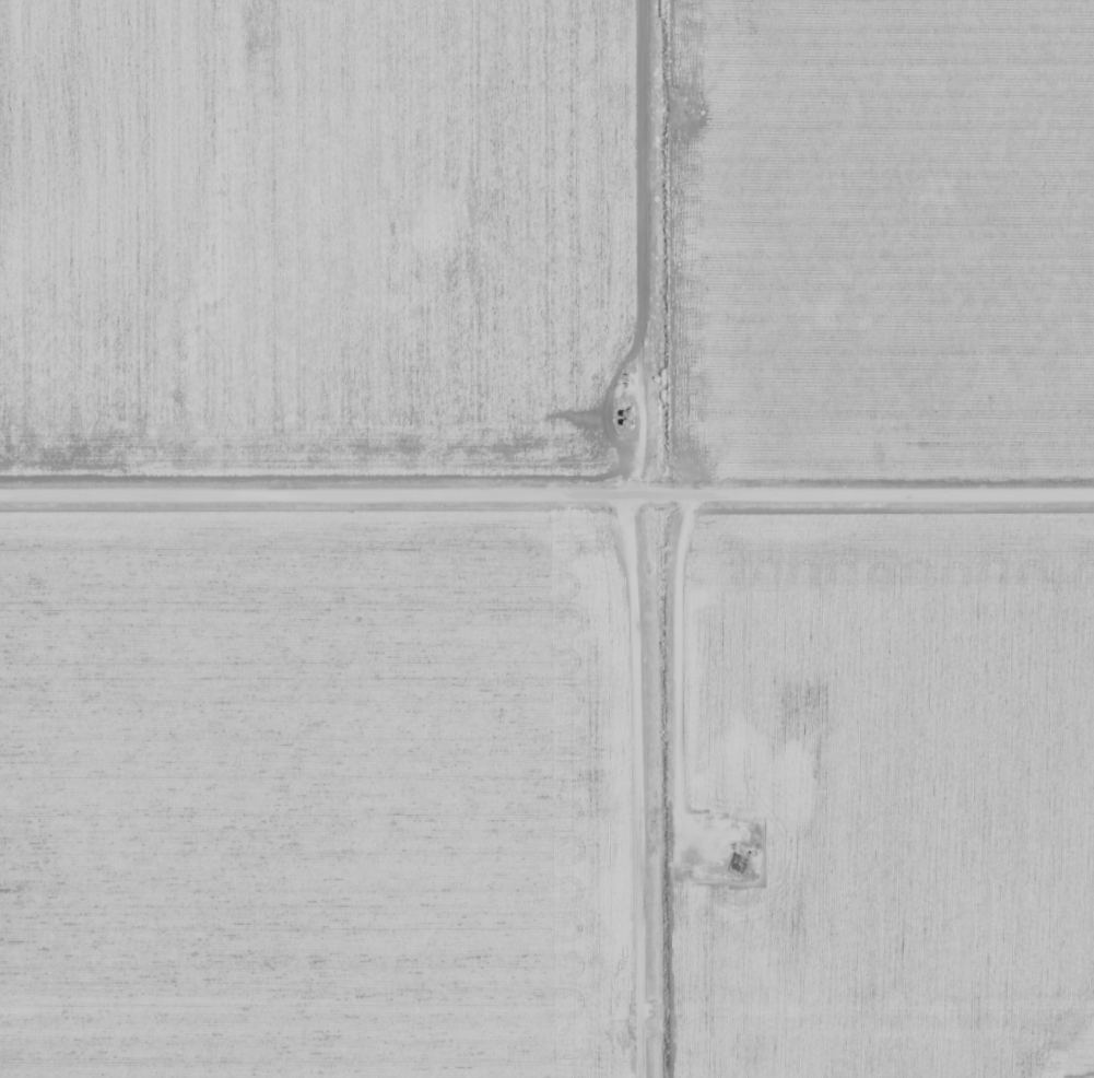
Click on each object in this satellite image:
road: (546, 493)

